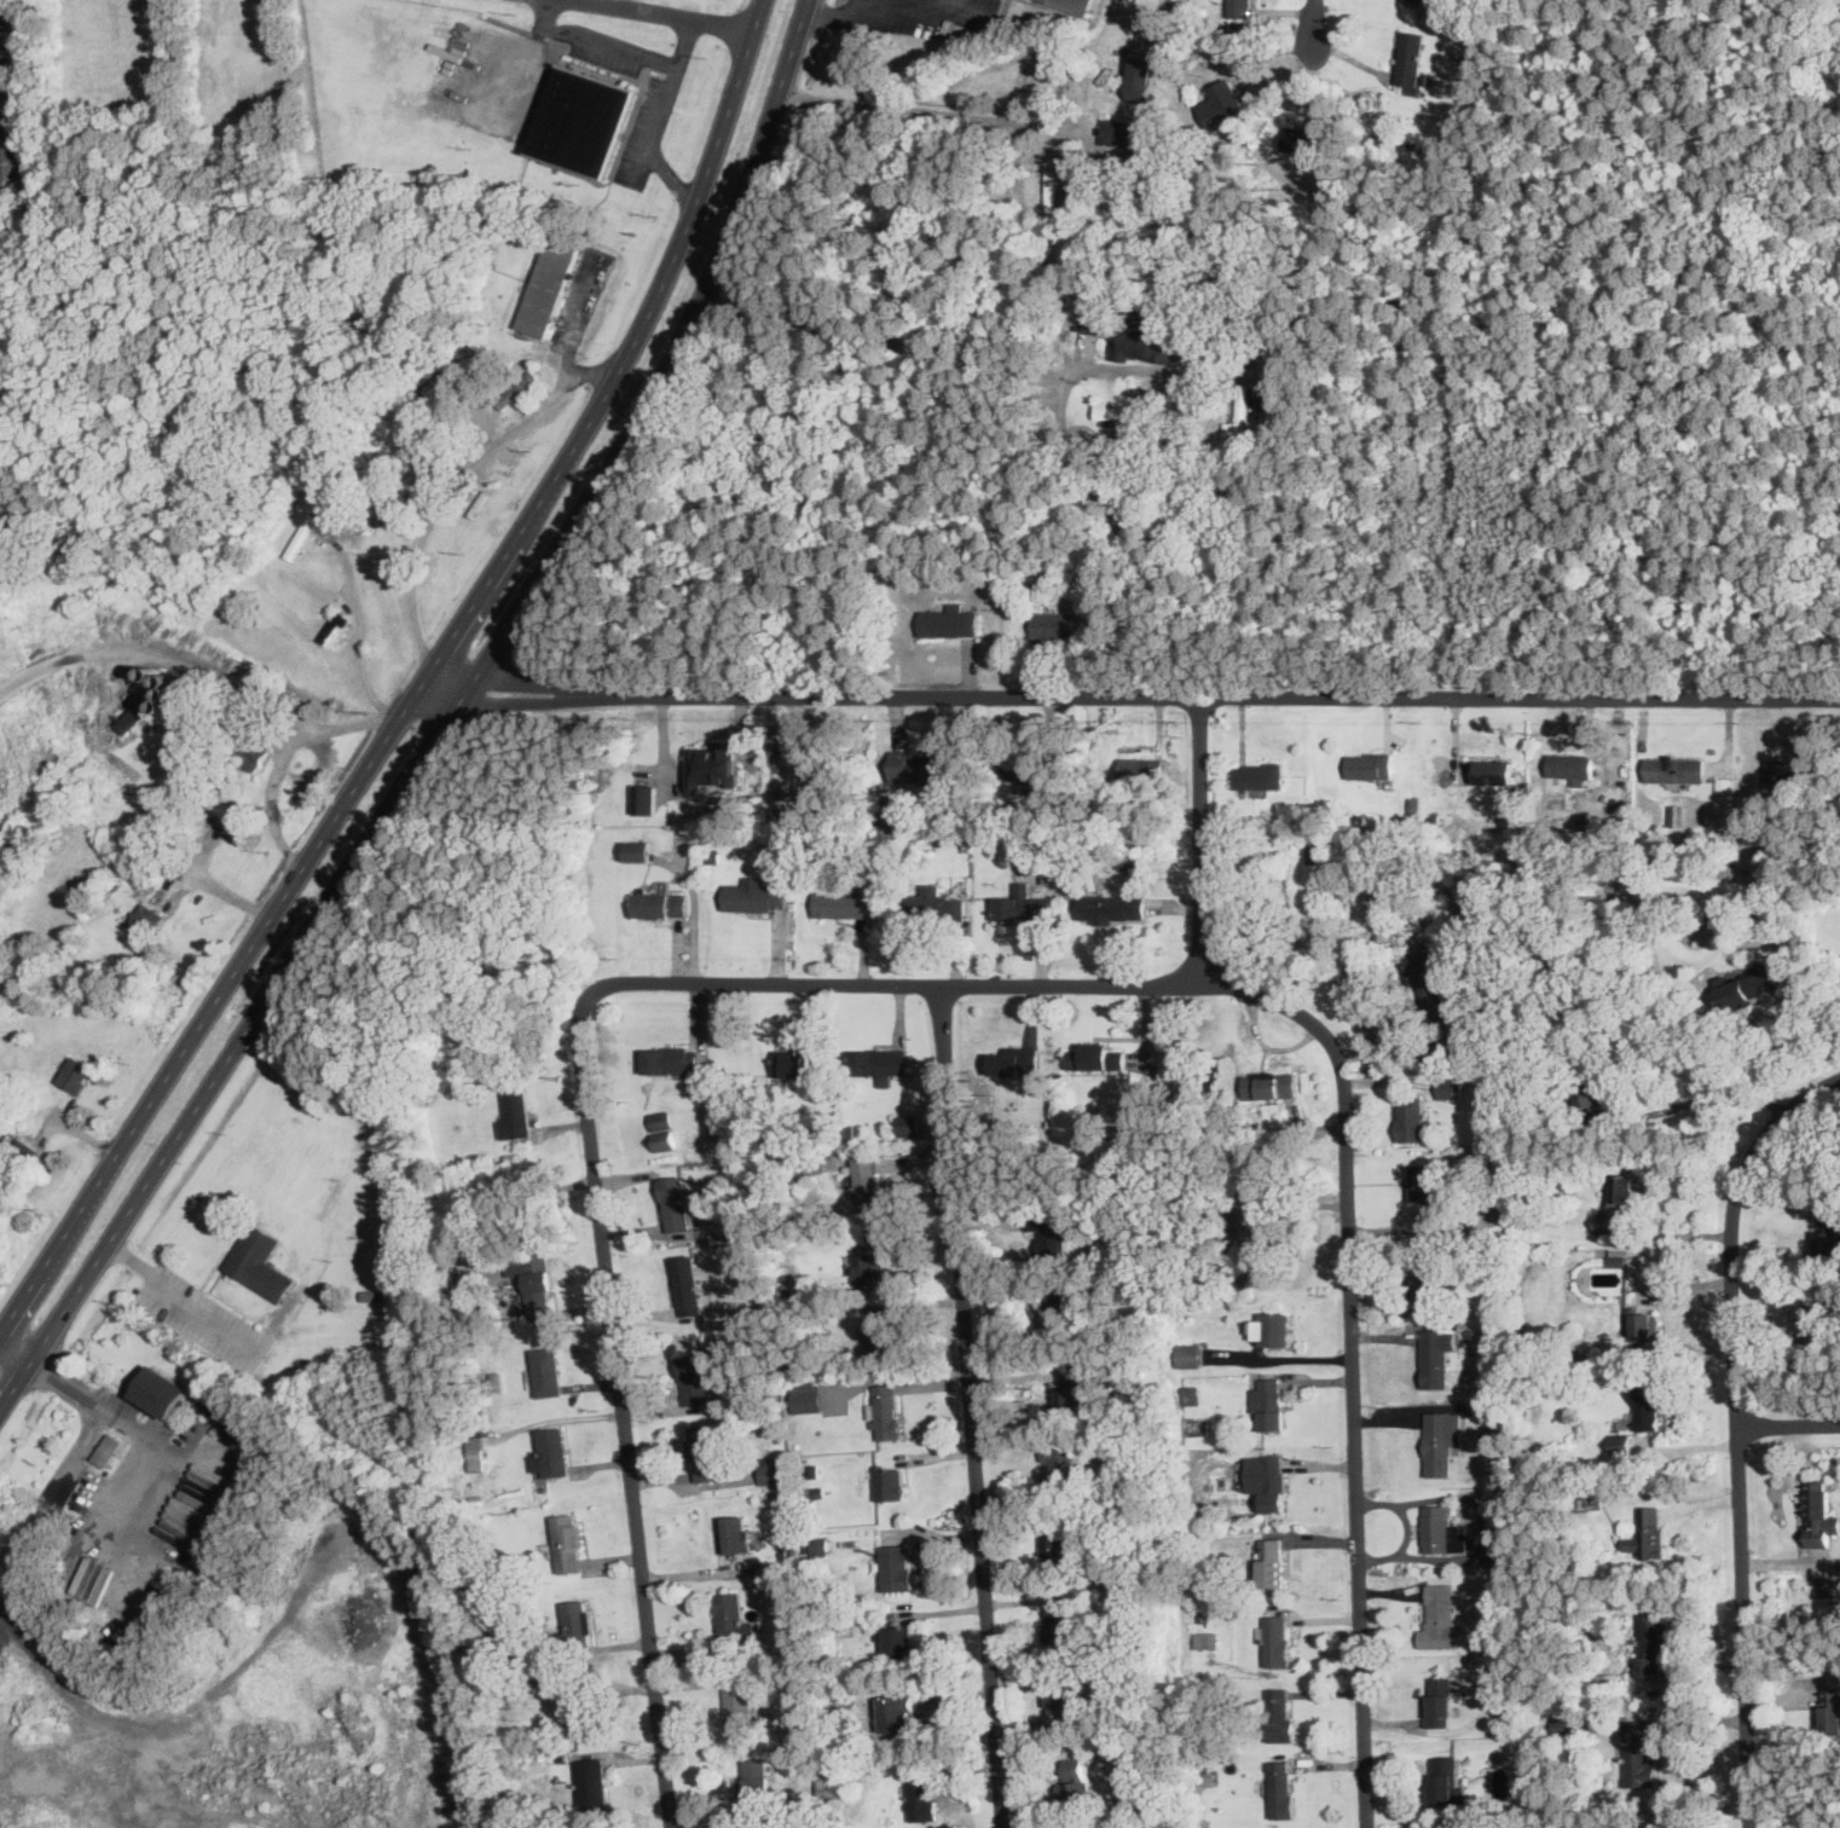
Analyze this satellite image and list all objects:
building: (1422, 0)
road: (615, 2)
building: (1076, 4)
building: (1240, 7)
road: (954, 8)
building: (1838, 8)
road: (835, 13)
road: (667, 15)
road: (1313, 24)
road: (685, 44)
road: (791, 56)
building: (1408, 57)
road: (675, 65)
building: (1216, 76)
building: (1141, 77)
road: (736, 87)
building: (1222, 104)
building: (11, 121)
building: (579, 123)
building: (1121, 131)
building: (1301, 139)
building: (1051, 189)
building: (548, 288)
building: (1145, 335)
building: (1117, 410)
building: (1240, 411)
road: (457, 479)
road: (1109, 510)
building: (949, 621)
building: (1053, 624)
road: (359, 631)
road: (1134, 693)
building: (134, 715)
road: (368, 721)
building: (256, 753)
road: (368, 763)
building: (713, 763)
building: (1369, 764)
building: (811, 765)
building: (921, 765)
building: (1031, 767)
building: (1141, 767)
building: (1563, 767)
building: (1674, 769)
building: (1495, 770)
building: (1789, 770)
building: (1259, 774)
road: (412, 775)
building: (646, 798)
building: (224, 803)
road: (1200, 838)
building: (640, 850)
building: (1319, 852)
building: (1766, 864)
building: (754, 895)
building: (843, 902)
building: (935, 902)
building: (1022, 903)
building: (659, 904)
building: (1112, 907)
road: (694, 910)
building: (146, 926)
building: (1427, 984)
building: (1747, 985)
road: (1790, 1024)
building: (1095, 1057)
building: (671, 1058)
building: (1014, 1060)
building: (795, 1061)
building: (879, 1061)
building: (76, 1074)
building: (1271, 1083)
building: (1447, 1086)
building: (1591, 1088)
road: (1697, 1098)
road: (585, 1104)
building: (514, 1111)
building: (1412, 1118)
building: (909, 1124)
building: (661, 1128)
building: (17, 1141)
building: (1425, 1180)
building: (868, 1182)
building: (1624, 1191)
building: (675, 1202)
building: (1604, 1221)
building: (1268, 1232)
building: (1828, 1232)
road: (1673, 1233)
building: (1051, 1234)
building: (259, 1261)
building: (869, 1266)
building: (534, 1282)
building: (687, 1285)
building: (1428, 1285)
road: (175, 1291)
building: (1059, 1308)
building: (1645, 1324)
building: (1272, 1327)
building: (1813, 1330)
building: (879, 1334)
road: (15, 1353)
building: (1190, 1354)
building: (1436, 1355)
road: (1279, 1358)
road: (1353, 1359)
building: (544, 1370)
building: (694, 1379)
building: (161, 1390)
building: (808, 1395)
building: (1066, 1396)
building: (1269, 1402)
building: (1650, 1404)
road: (970, 1406)
building: (885, 1410)
road: (123, 1418)
road: (1789, 1422)
road: (1738, 1429)
building: (1621, 1441)
building: (1441, 1444)
building: (106, 1450)
building: (555, 1451)
building: (702, 1452)
building: (475, 1454)
building: (1059, 1464)
building: (771, 1469)
building: (1267, 1479)
building: (890, 1481)
building: (230, 1503)
building: (1818, 1514)
building: (1442, 1531)
building: (1647, 1532)
building: (735, 1534)
building: (567, 1541)
building: (820, 1545)
building: (1054, 1546)
building: (1271, 1561)
building: (896, 1566)
building: (1065, 1615)
building: (731, 1618)
building: (1440, 1618)
building: (578, 1619)
building: (1275, 1639)
building: (898, 1641)
building: (1654, 1643)
building: (1058, 1691)
building: (737, 1699)
building: (1439, 1700)
building: (581, 1710)
building: (1832, 1710)
building: (898, 1712)
building: (1279, 1713)
building: (1070, 1717)
building: (1564, 1724)
building: (1637, 1749)
building: (756, 1776)
building: (1074, 1780)
building: (1445, 1781)
building: (590, 1782)
building: (1280, 1788)
building: (921, 1794)

